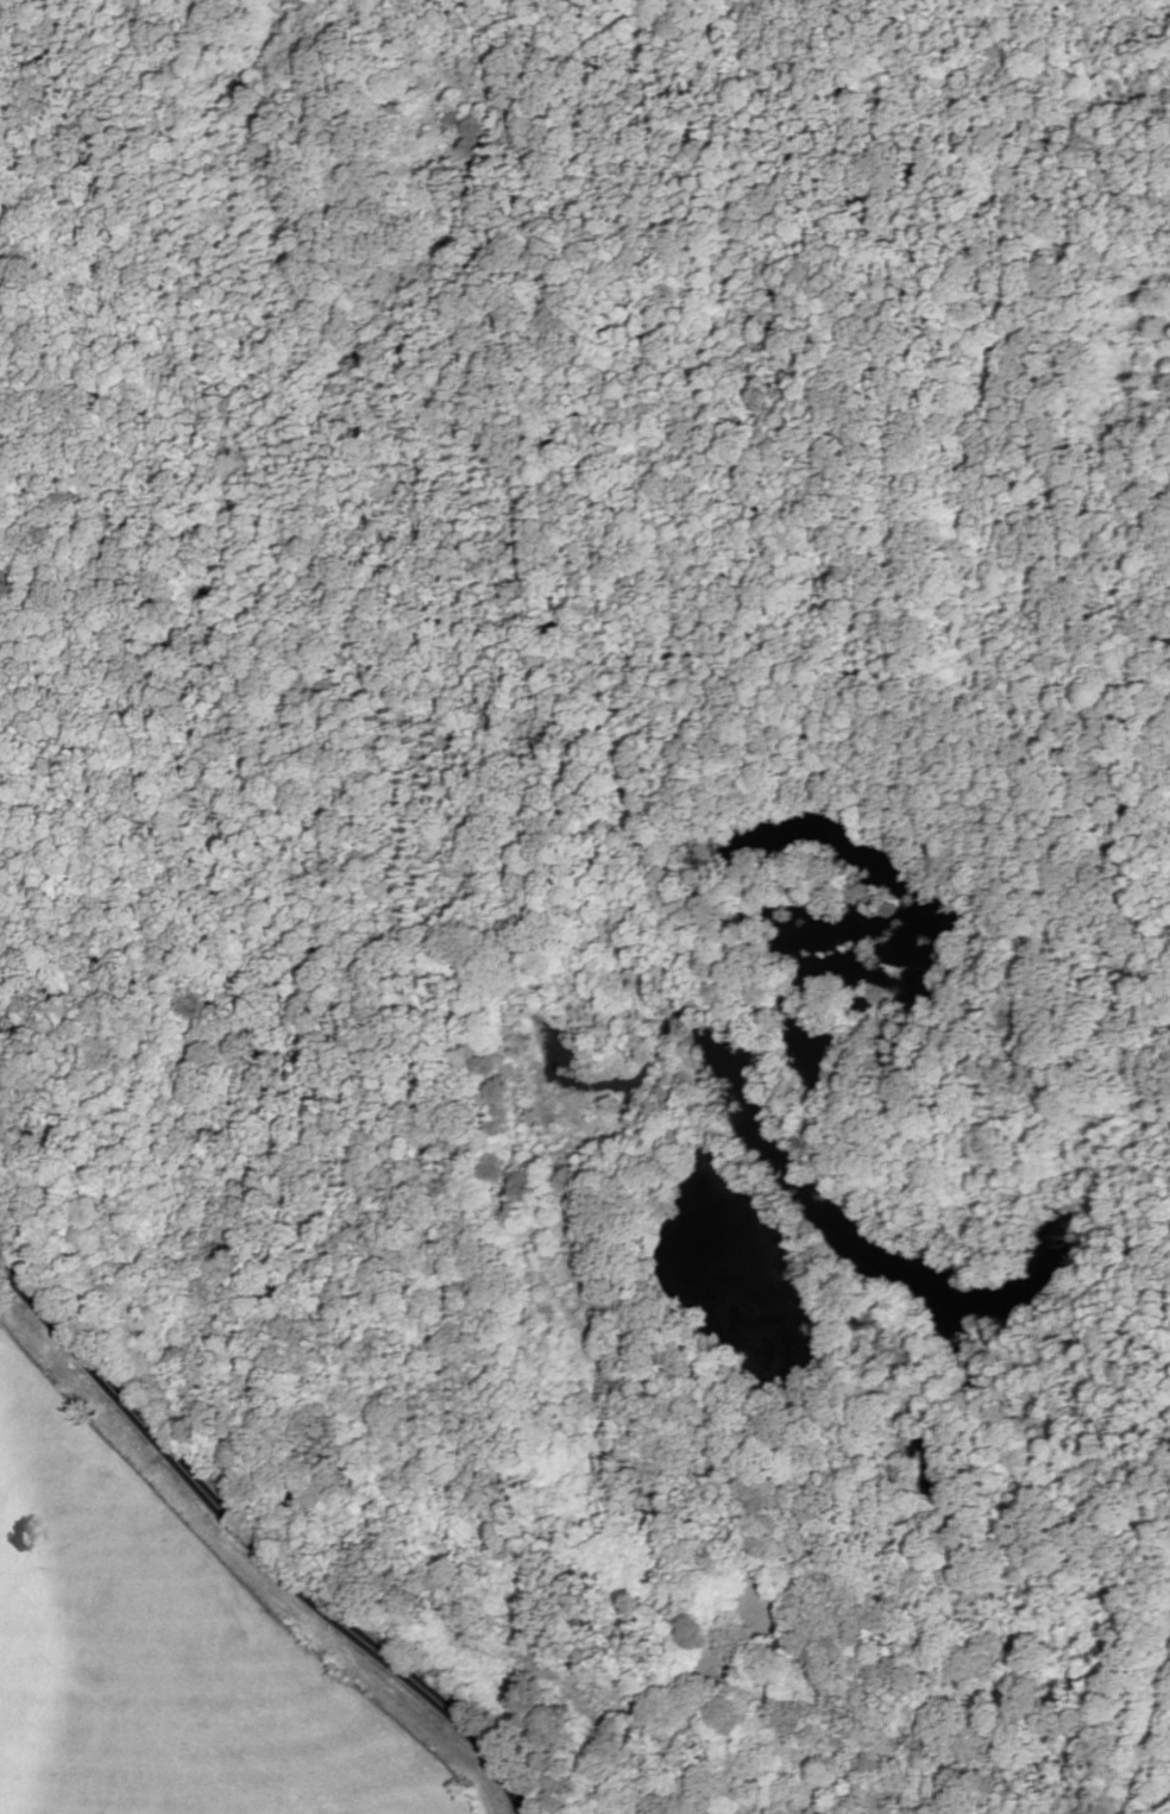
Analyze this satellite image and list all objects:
road: (256, 1544)
building: (753, 1655)
road: (619, 1733)

